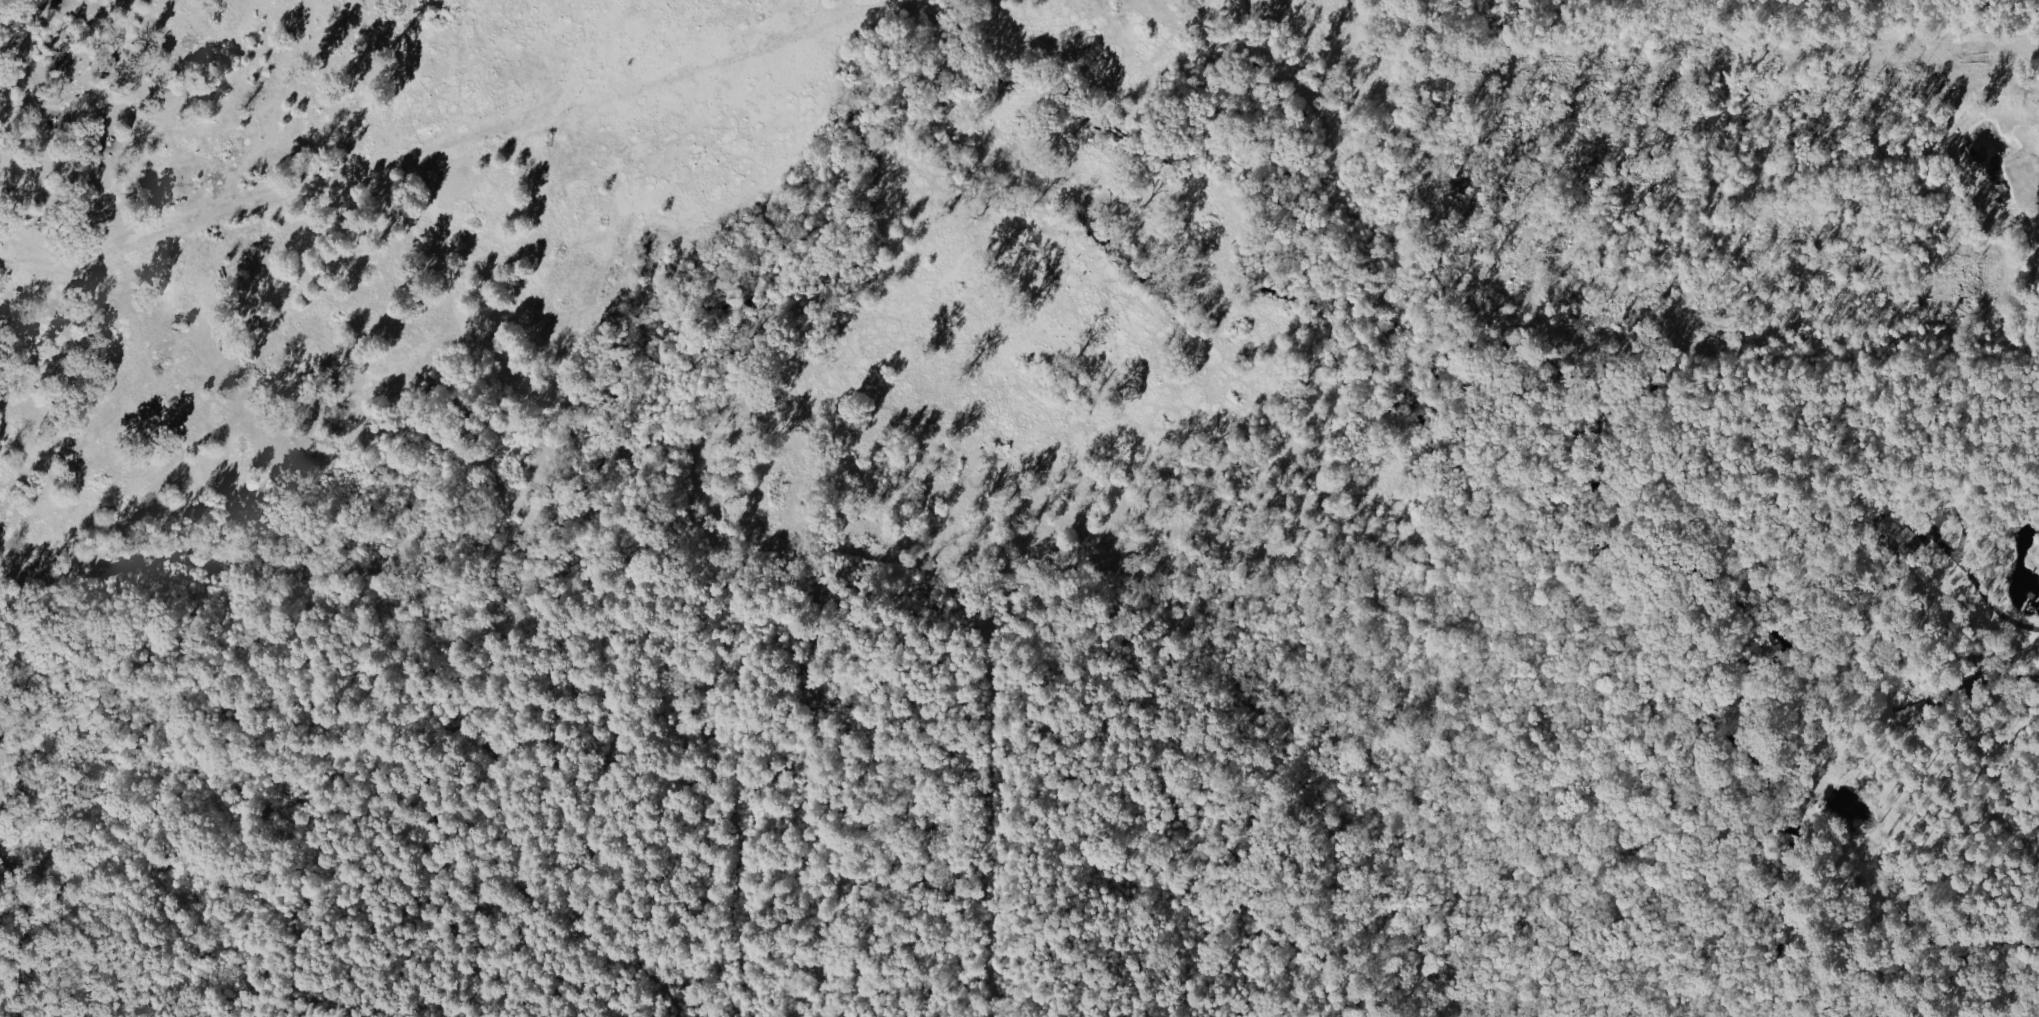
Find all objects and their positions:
river: (1549, 383)
building: (1897, 535)

